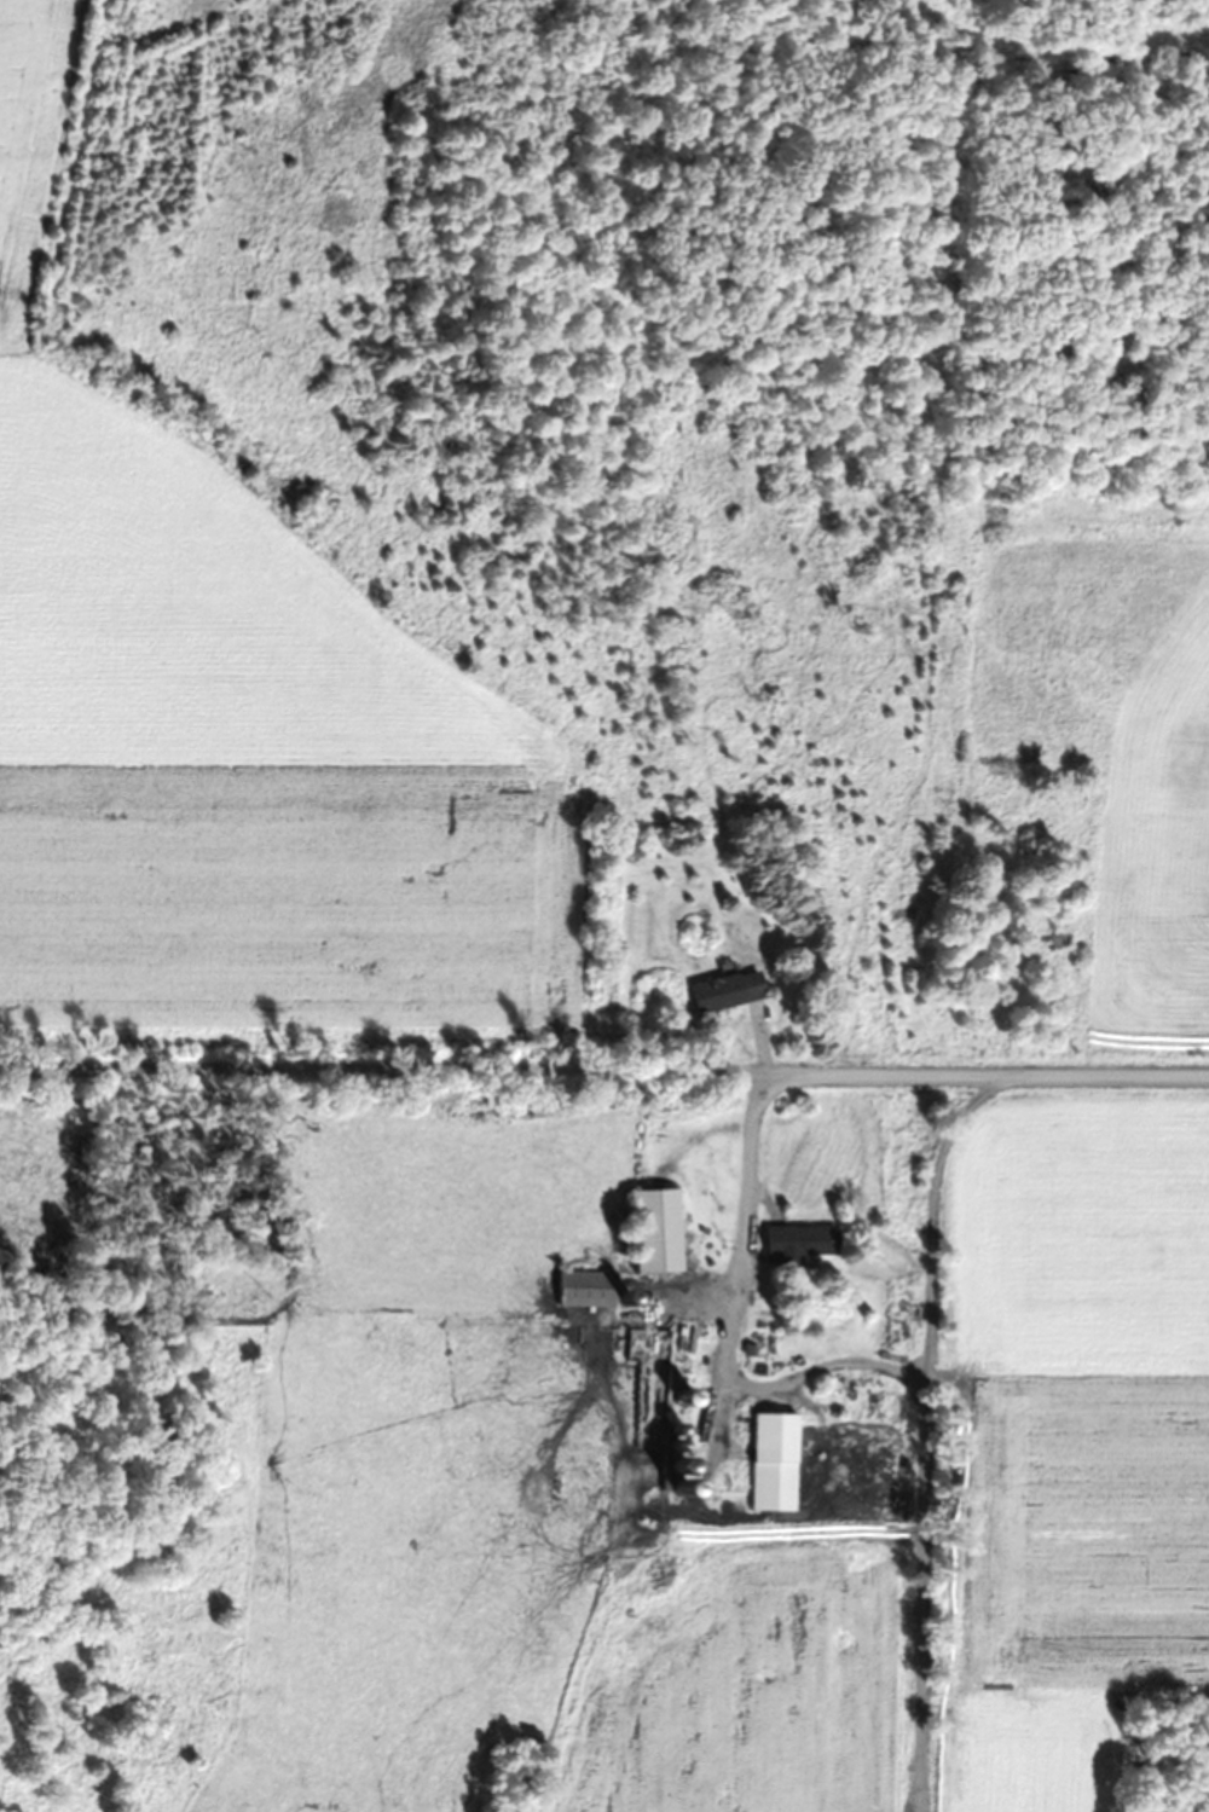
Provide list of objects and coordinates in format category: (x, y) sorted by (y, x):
building: (727, 991)
road: (603, 1064)
building: (658, 1231)
building: (803, 1240)
building: (588, 1289)
building: (775, 1461)

